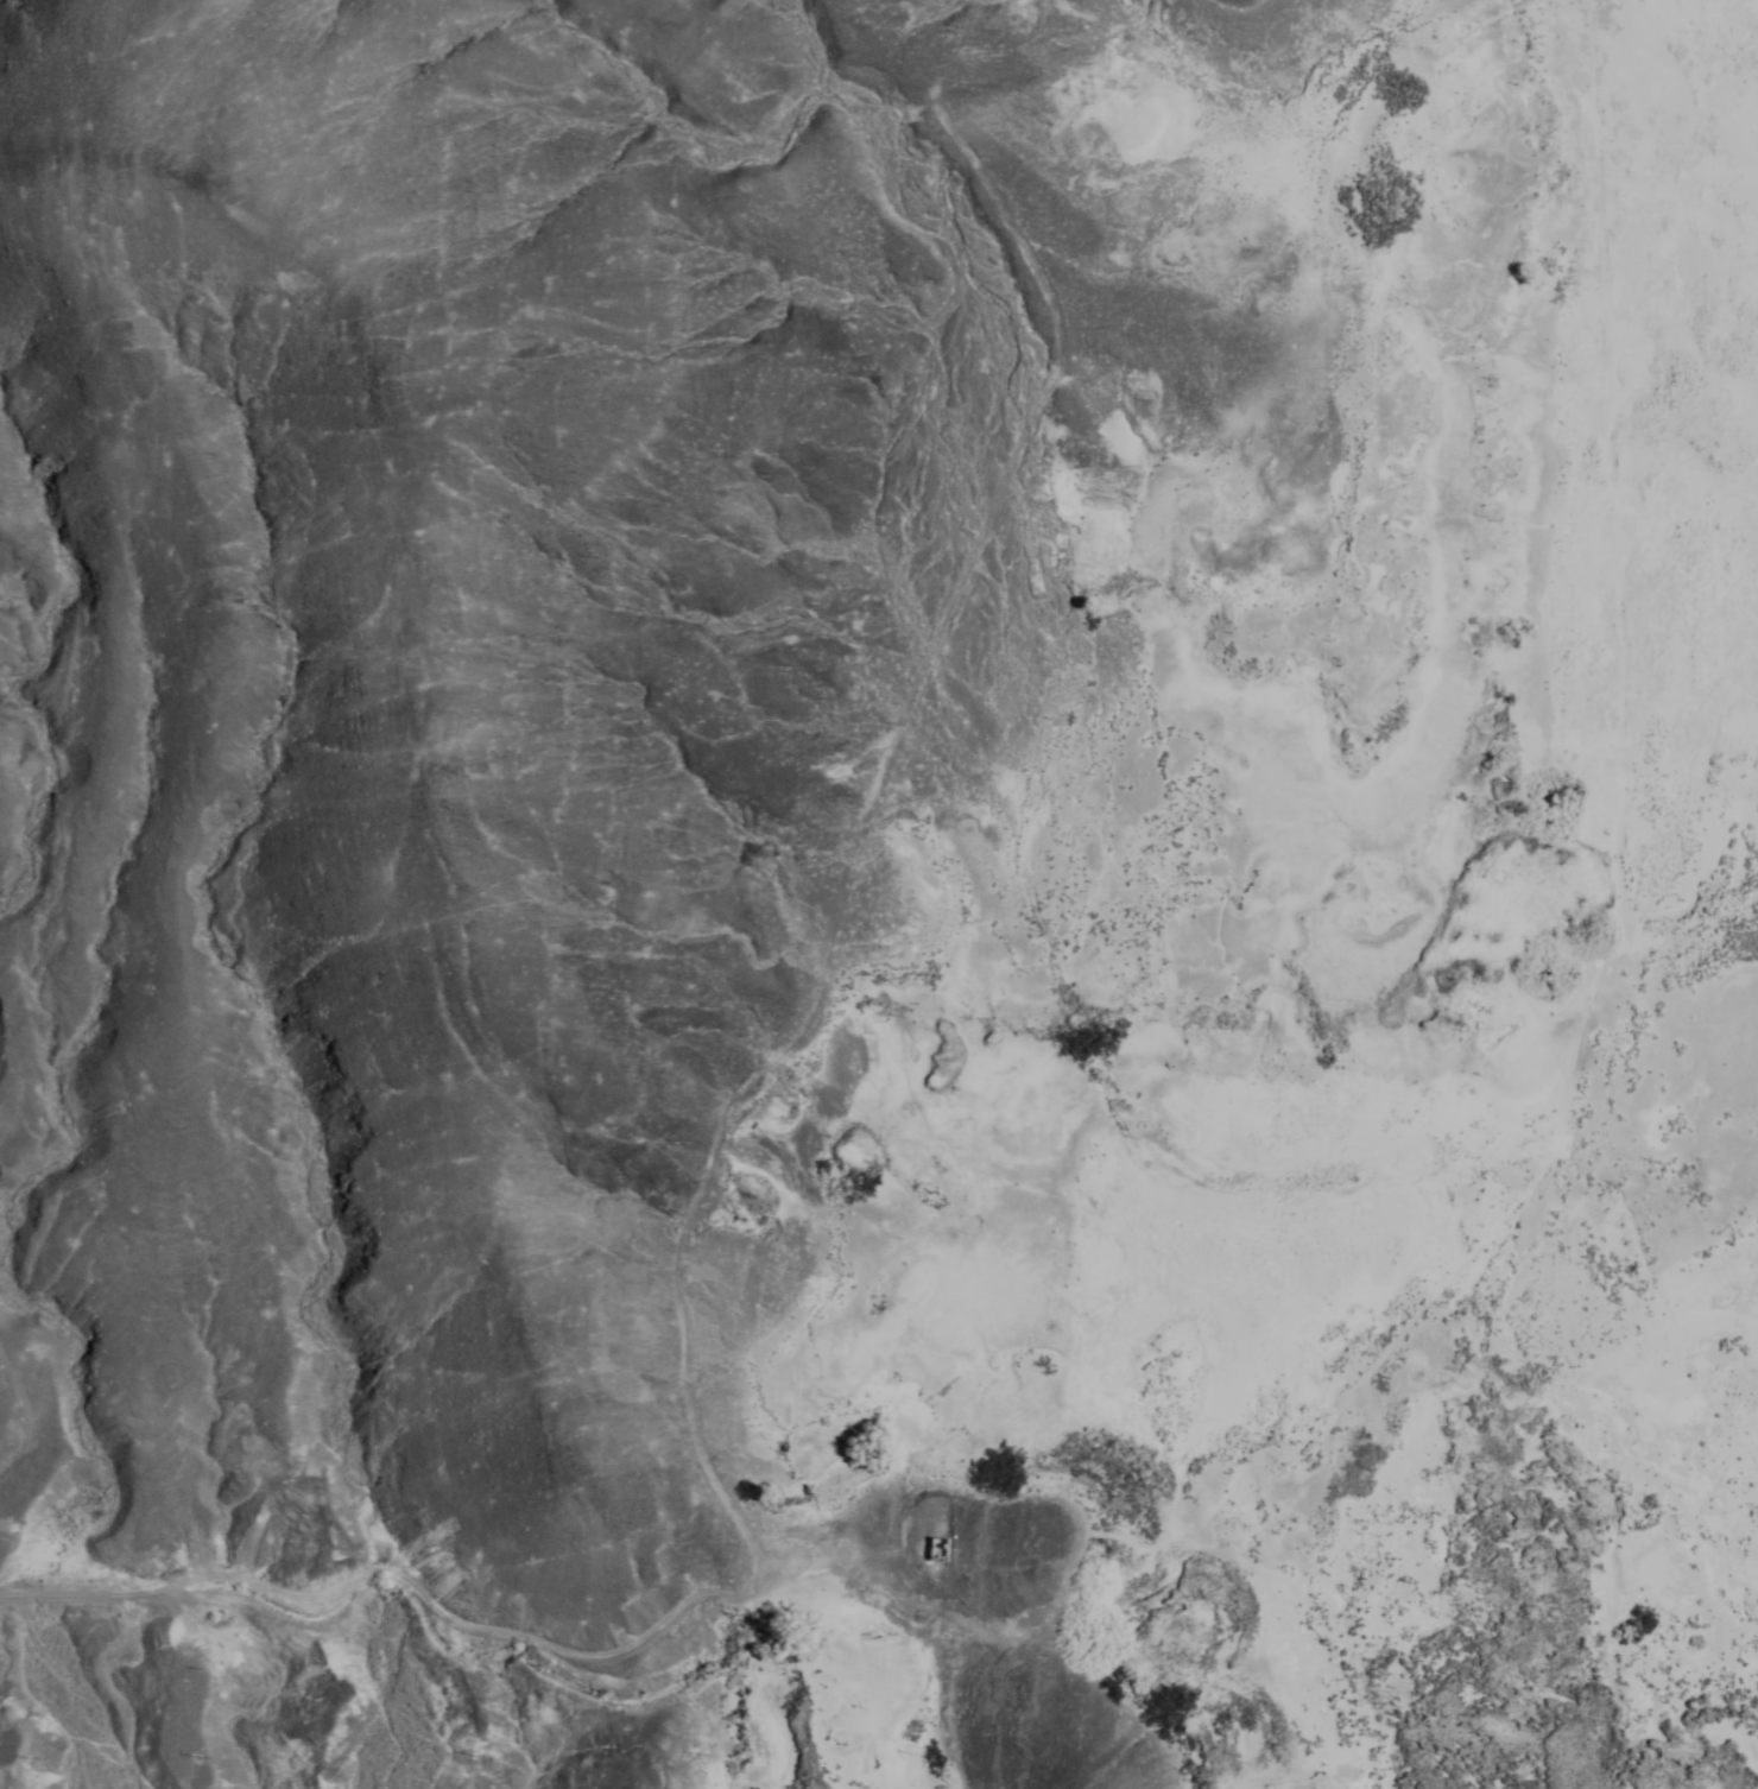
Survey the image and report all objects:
road: (965, 563)
building: (937, 1548)
road: (658, 1623)

